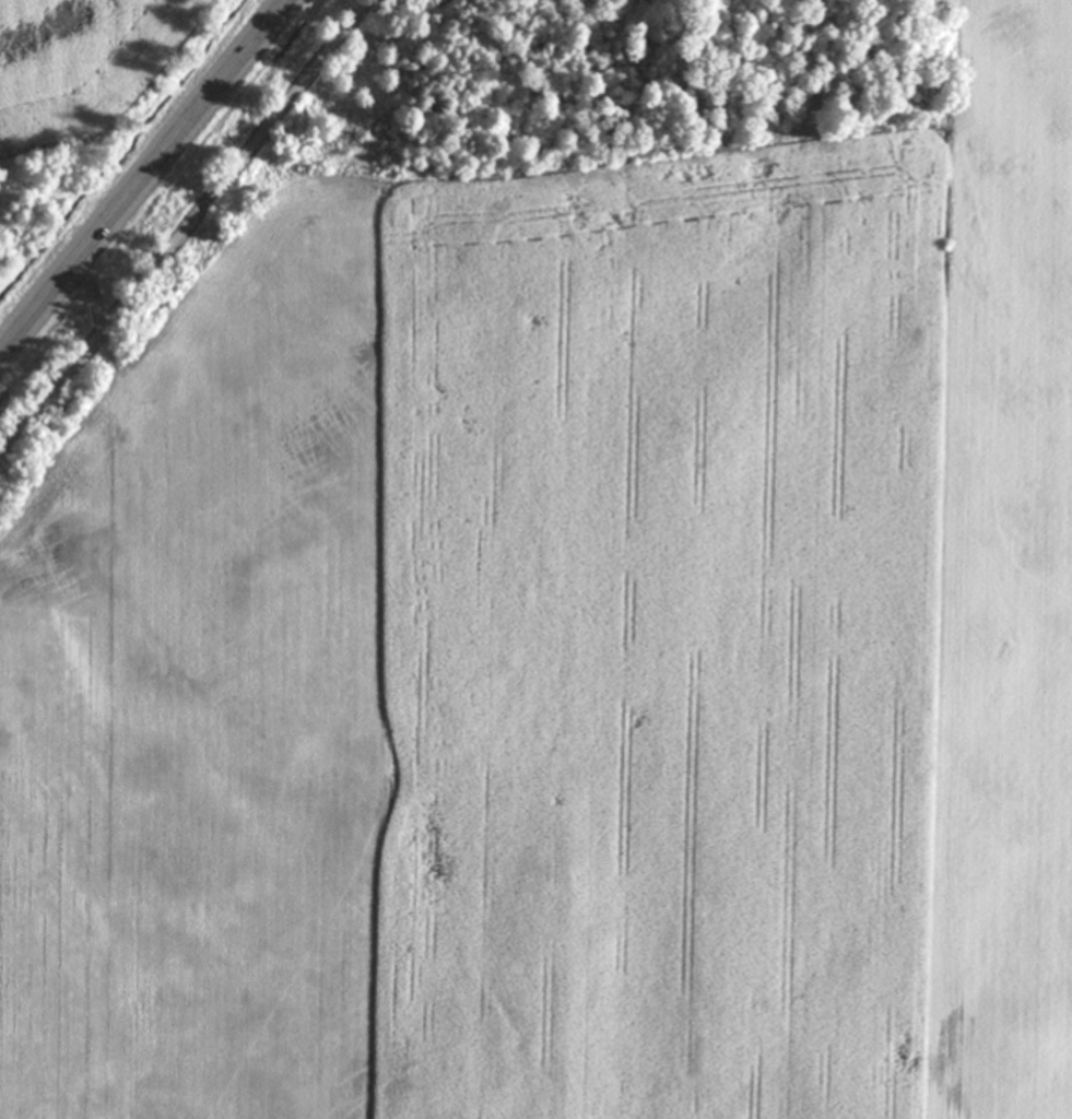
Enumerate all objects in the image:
road: (146, 181)
road: (184, 229)

